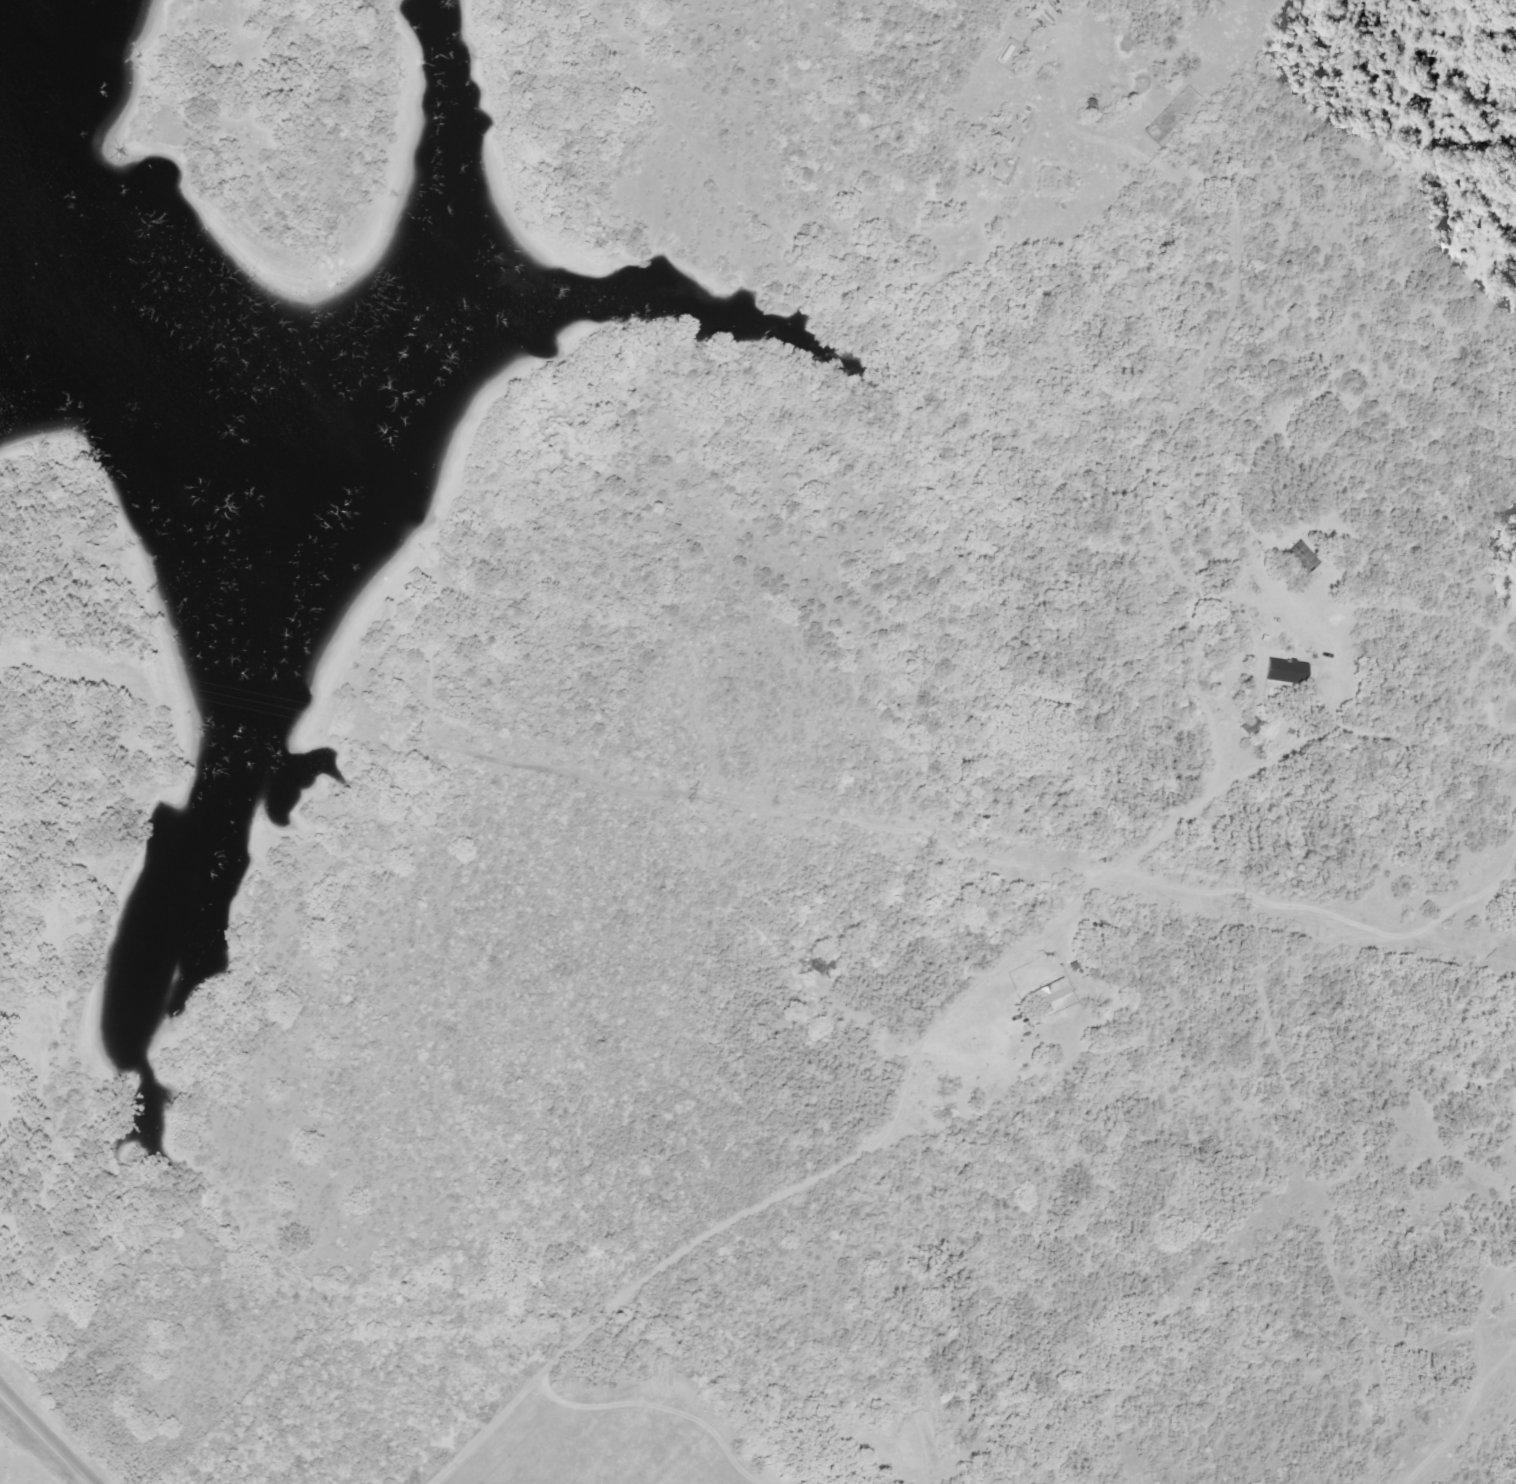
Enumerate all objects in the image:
building: (1046, 17)
building: (1300, 555)
building: (1283, 670)
power tower: (387, 735)
power tower: (688, 791)
road: (672, 831)
power tower: (921, 843)
power tower: (1237, 903)
building: (822, 965)
building: (1051, 992)
road: (901, 1103)
road: (49, 1436)

